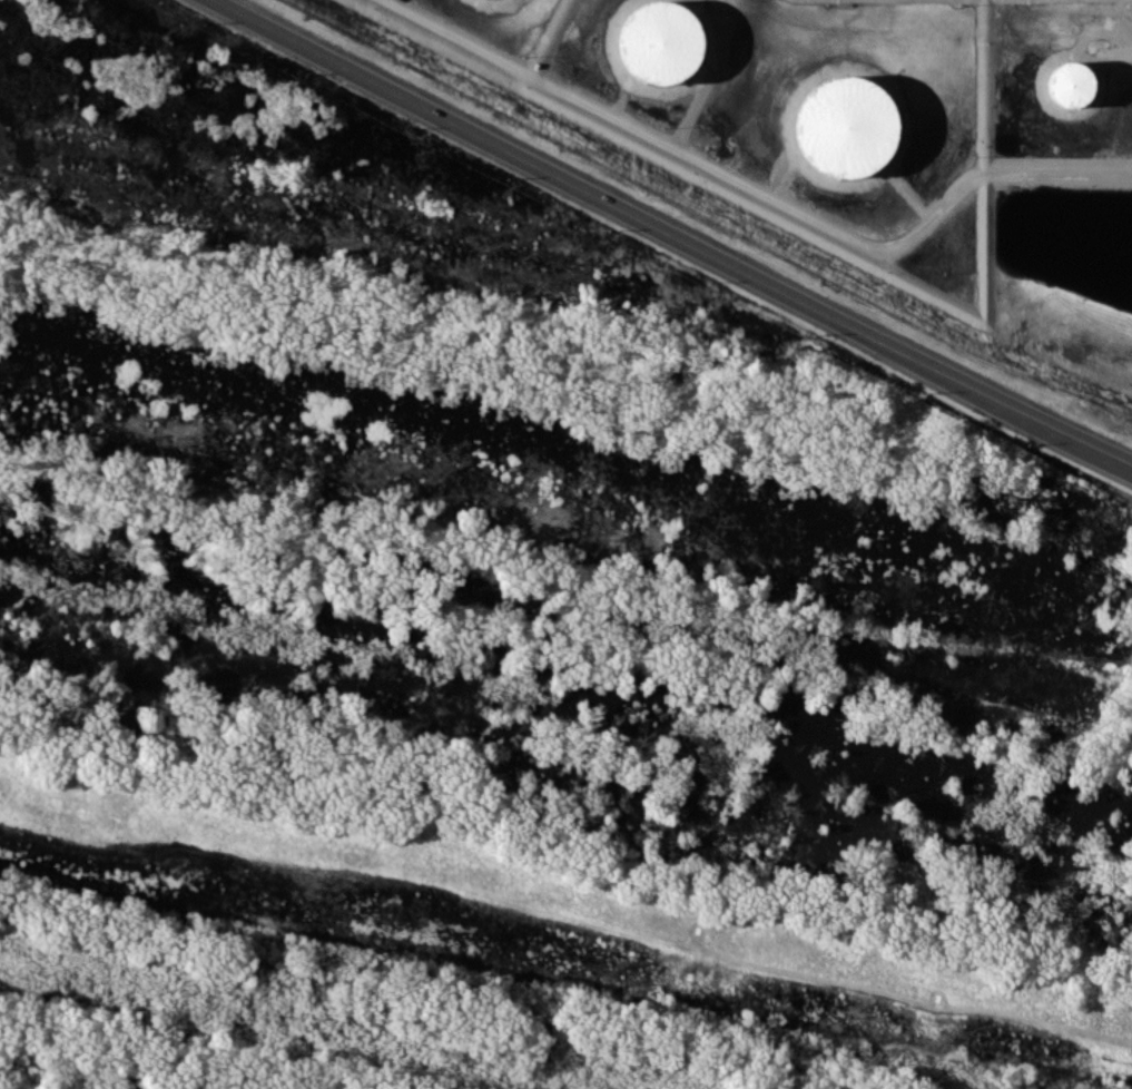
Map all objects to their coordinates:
building: (659, 41)
building: (1071, 82)
building: (845, 127)
road: (670, 235)

